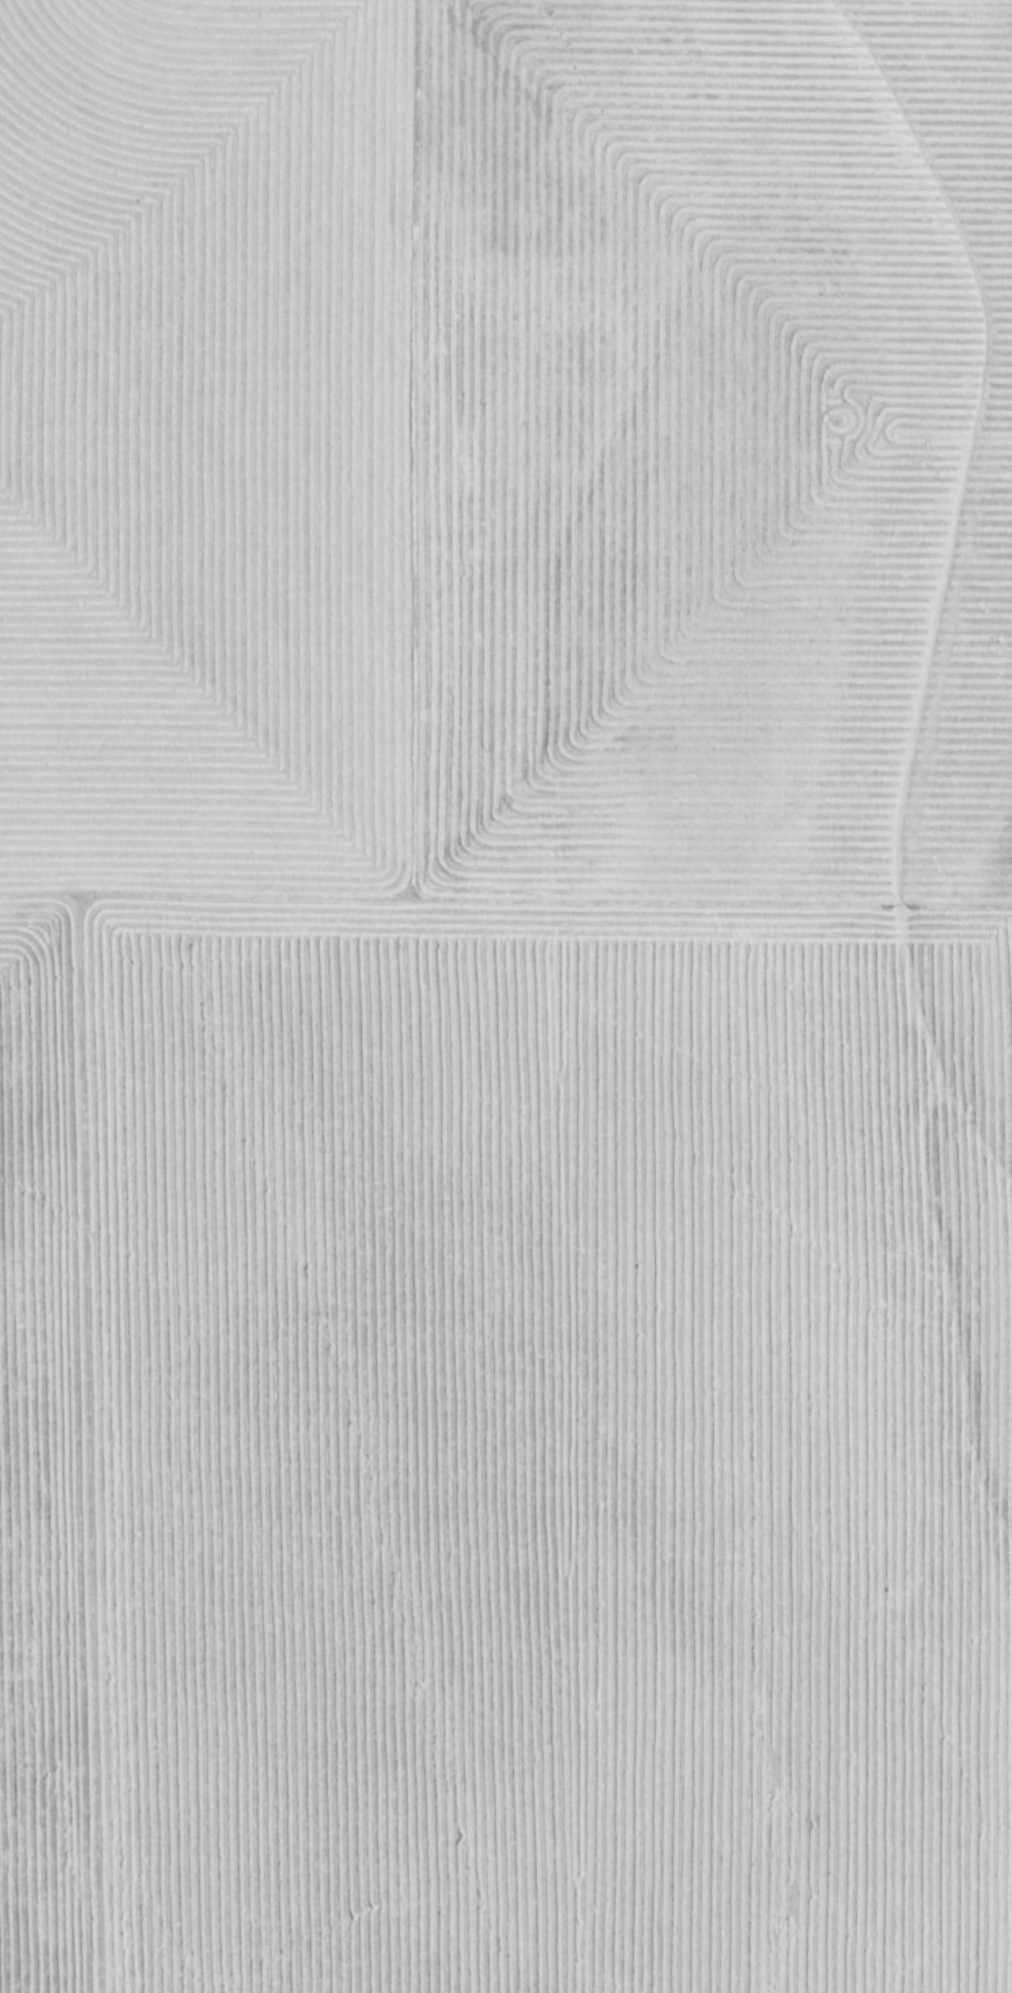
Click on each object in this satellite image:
crop: (506, 996)

